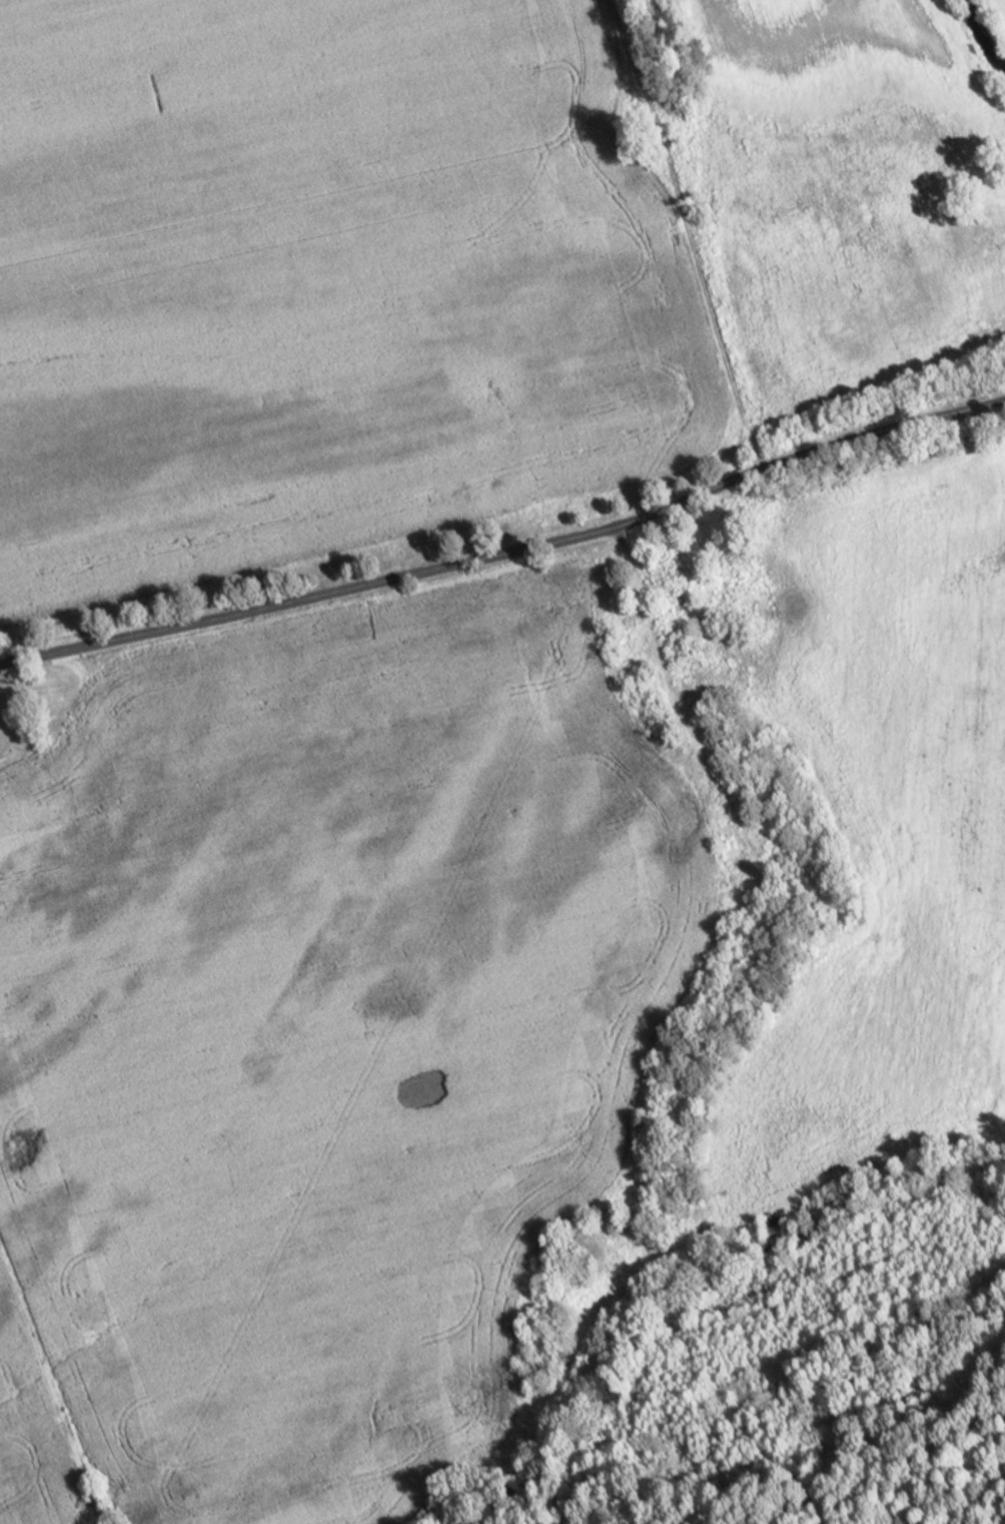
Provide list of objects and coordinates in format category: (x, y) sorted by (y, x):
road: (508, 555)

